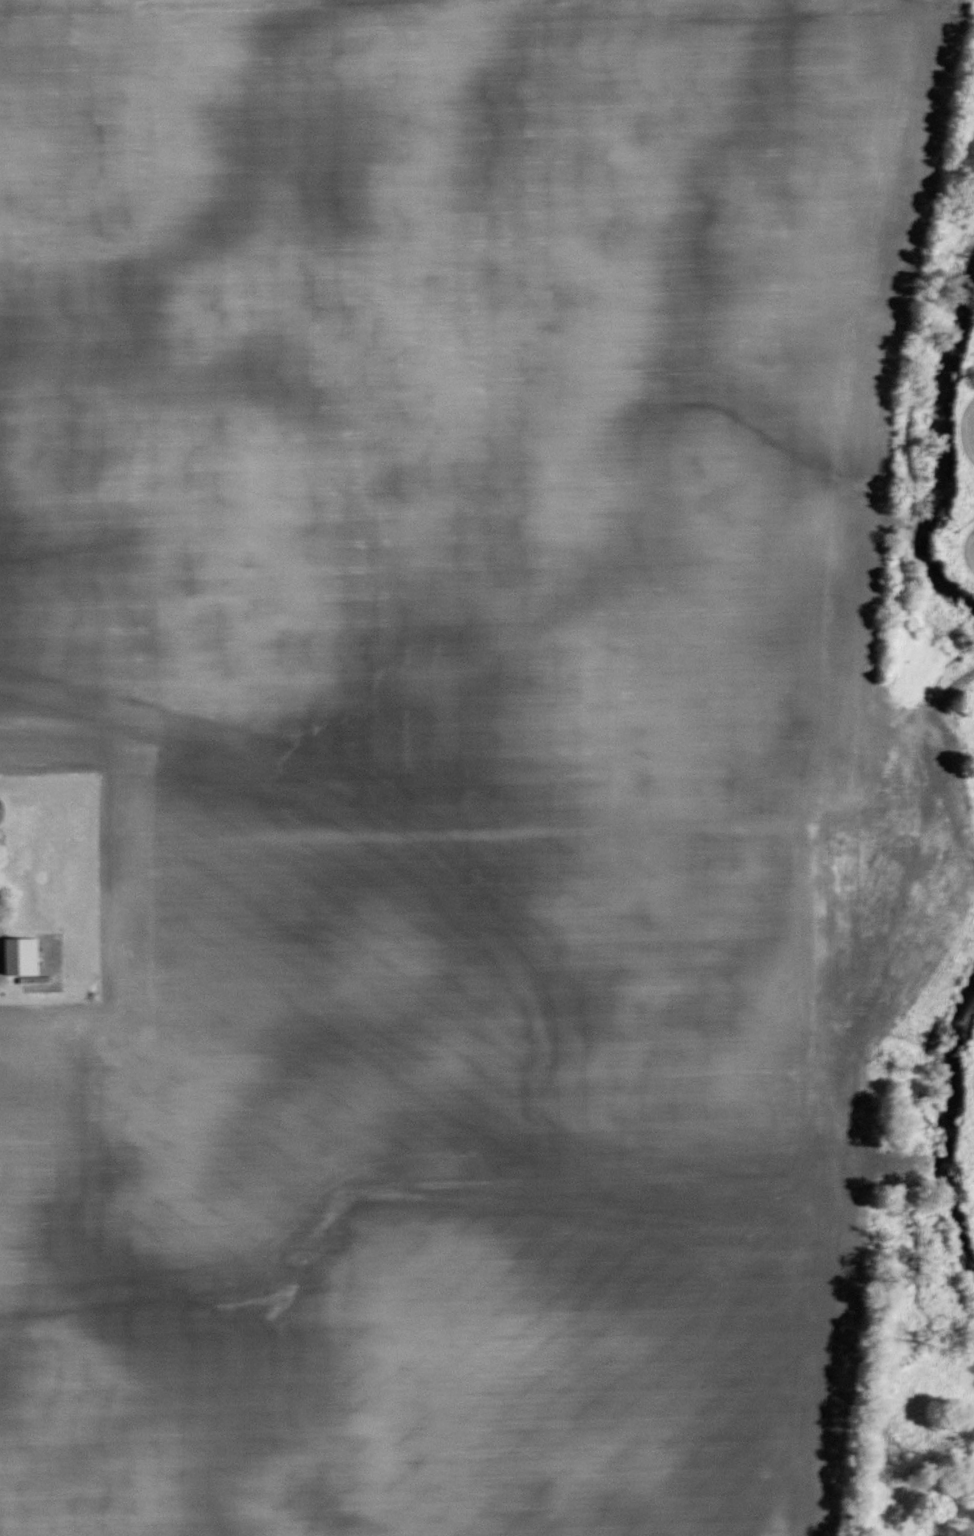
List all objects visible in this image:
building: (22, 956)

